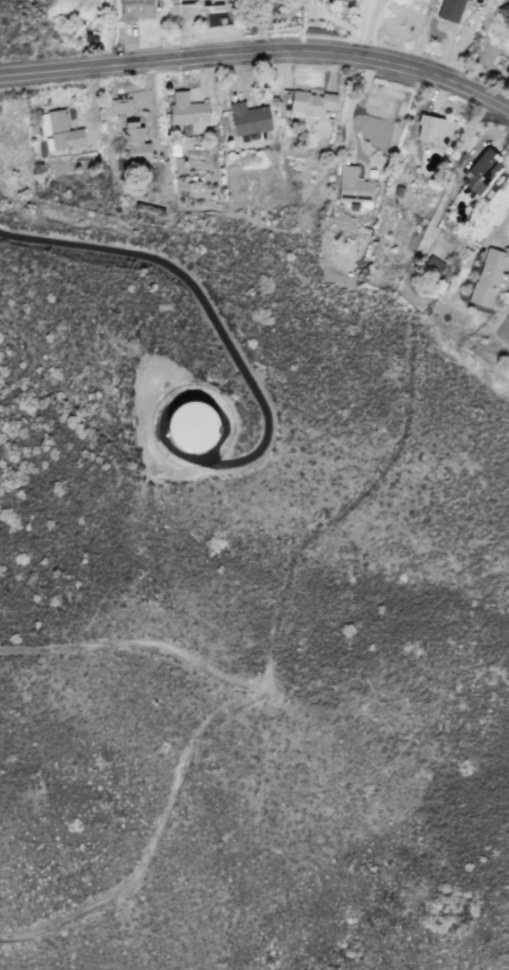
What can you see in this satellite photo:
building: (204, 3)
building: (134, 9)
building: (449, 9)
building: (504, 13)
road: (270, 23)
road: (259, 56)
road: (503, 92)
road: (350, 101)
building: (310, 102)
building: (120, 105)
building: (188, 111)
building: (248, 118)
building: (43, 123)
building: (434, 129)
building: (63, 131)
building: (134, 144)
building: (481, 170)
building: (352, 185)
road: (496, 221)
building: (432, 261)
building: (489, 277)
road: (204, 302)
building: (508, 319)
building: (192, 425)
road: (215, 720)

